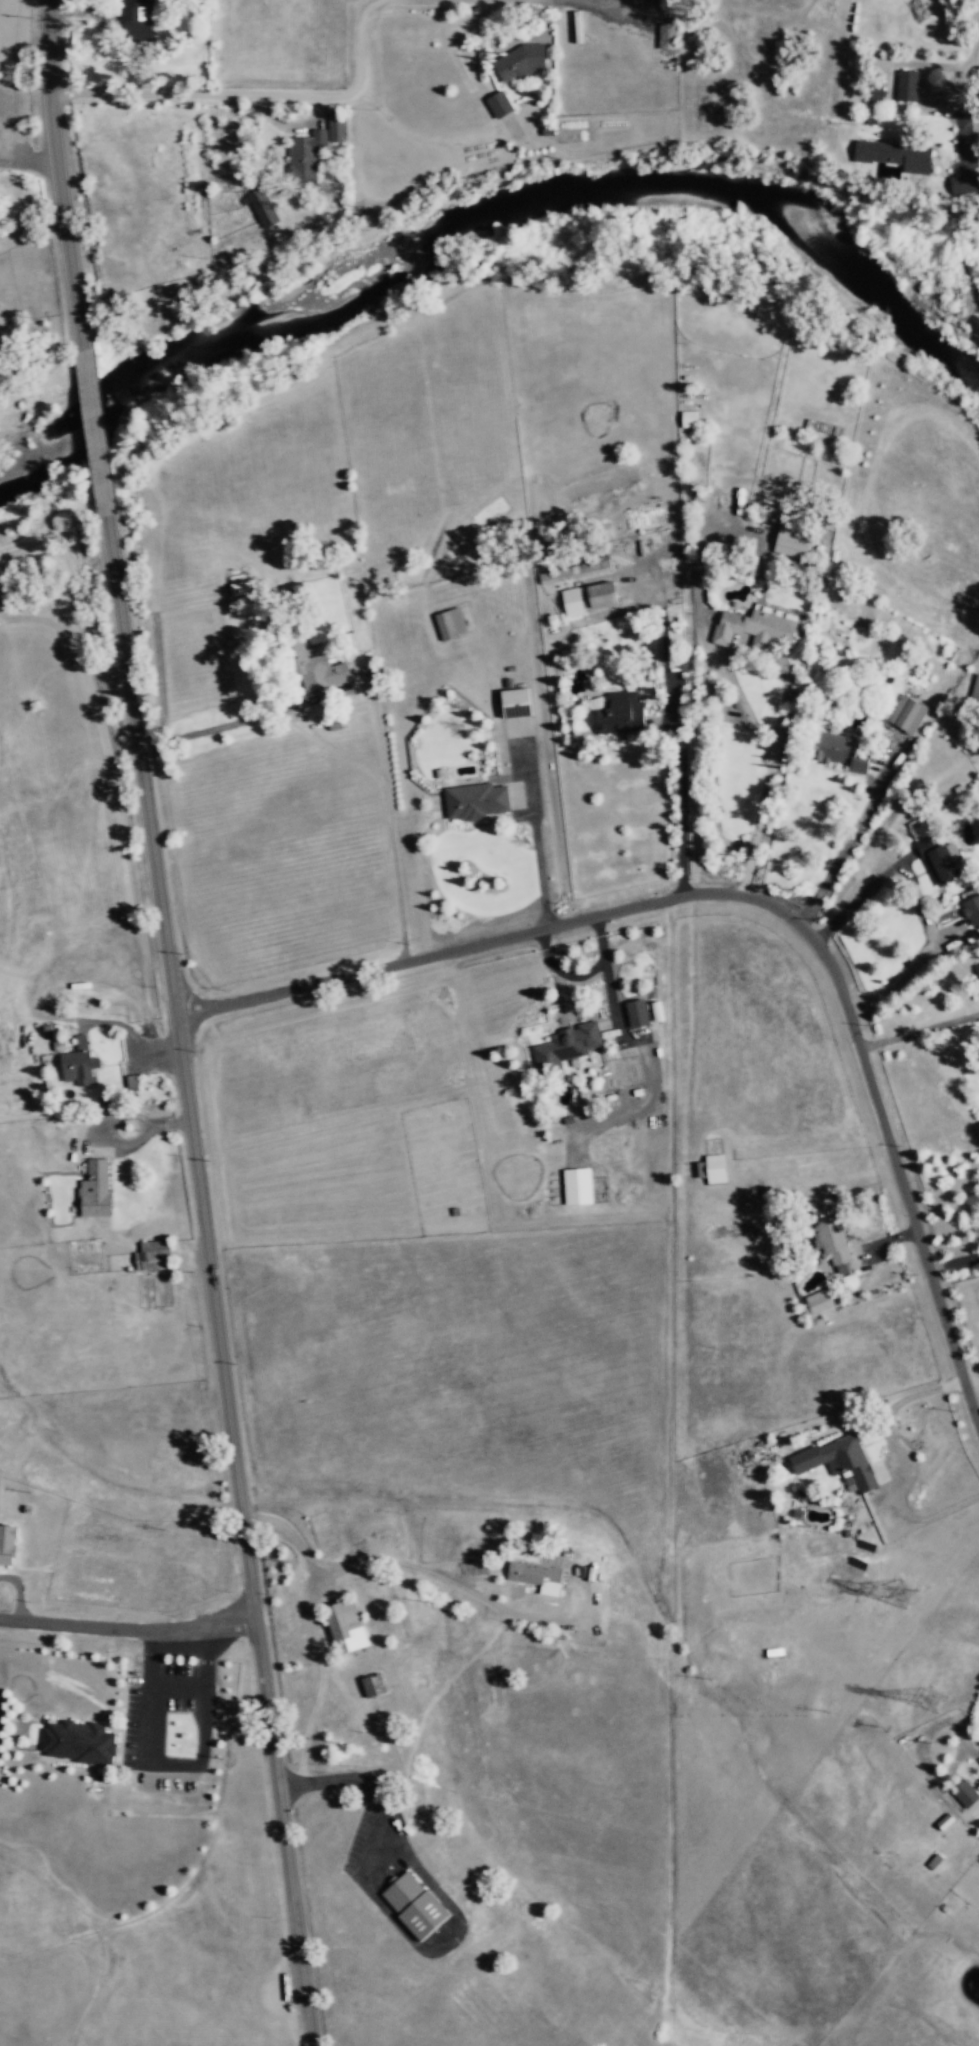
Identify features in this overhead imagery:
building: (133, 20)
building: (666, 35)
building: (519, 62)
building: (905, 85)
building: (872, 93)
road: (248, 95)
building: (497, 104)
building: (334, 128)
building: (303, 155)
building: (893, 155)
road: (56, 174)
building: (261, 208)
river: (455, 225)
river: (893, 316)
river: (93, 405)
building: (688, 419)
road: (96, 430)
river: (44, 452)
building: (790, 540)
building: (240, 587)
building: (586, 598)
building: (448, 623)
building: (751, 628)
building: (314, 670)
building: (975, 688)
building: (513, 703)
building: (618, 713)
building: (905, 714)
building: (837, 751)
building: (473, 801)
building: (936, 858)
building: (971, 909)
road: (447, 950)
building: (977, 973)
building: (635, 1012)
building: (76, 1063)
road: (883, 1143)
building: (713, 1167)
building: (576, 1186)
building: (93, 1188)
building: (831, 1238)
building: (150, 1255)
road: (208, 1279)
building: (817, 1300)
building: (836, 1461)
building: (6, 1544)
road: (295, 1549)
building: (531, 1573)
power tower: (902, 1590)
building: (343, 1625)
road: (128, 1628)
building: (371, 1685)
road: (177, 1686)
power tower: (931, 1700)
building: (77, 1742)
road: (176, 1764)
building: (963, 1793)
building: (412, 1905)

